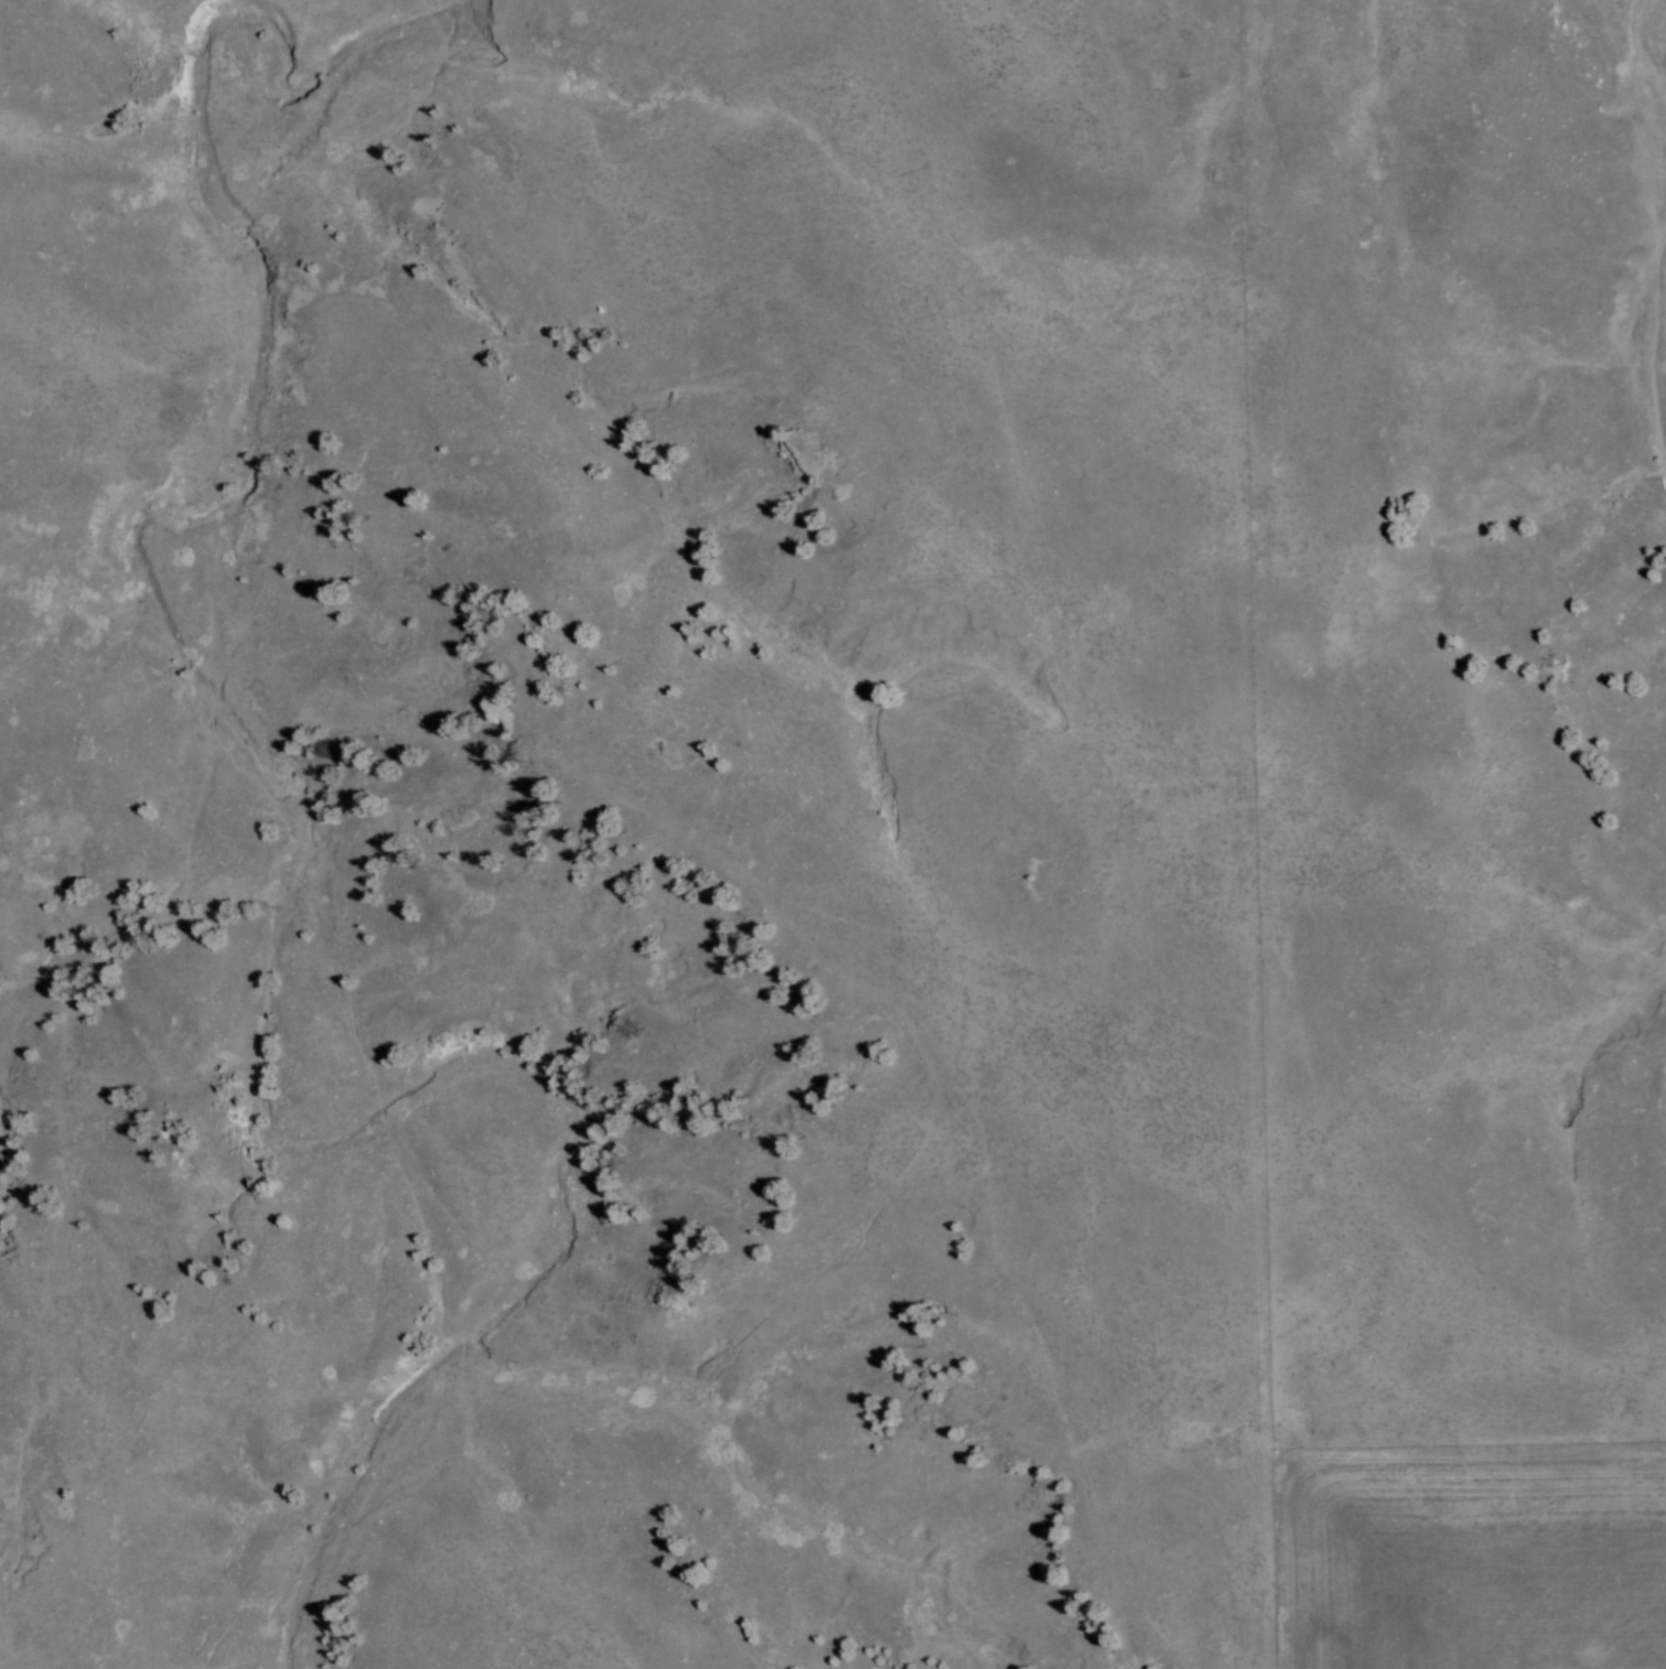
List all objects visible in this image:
crop: (1474, 1558)

